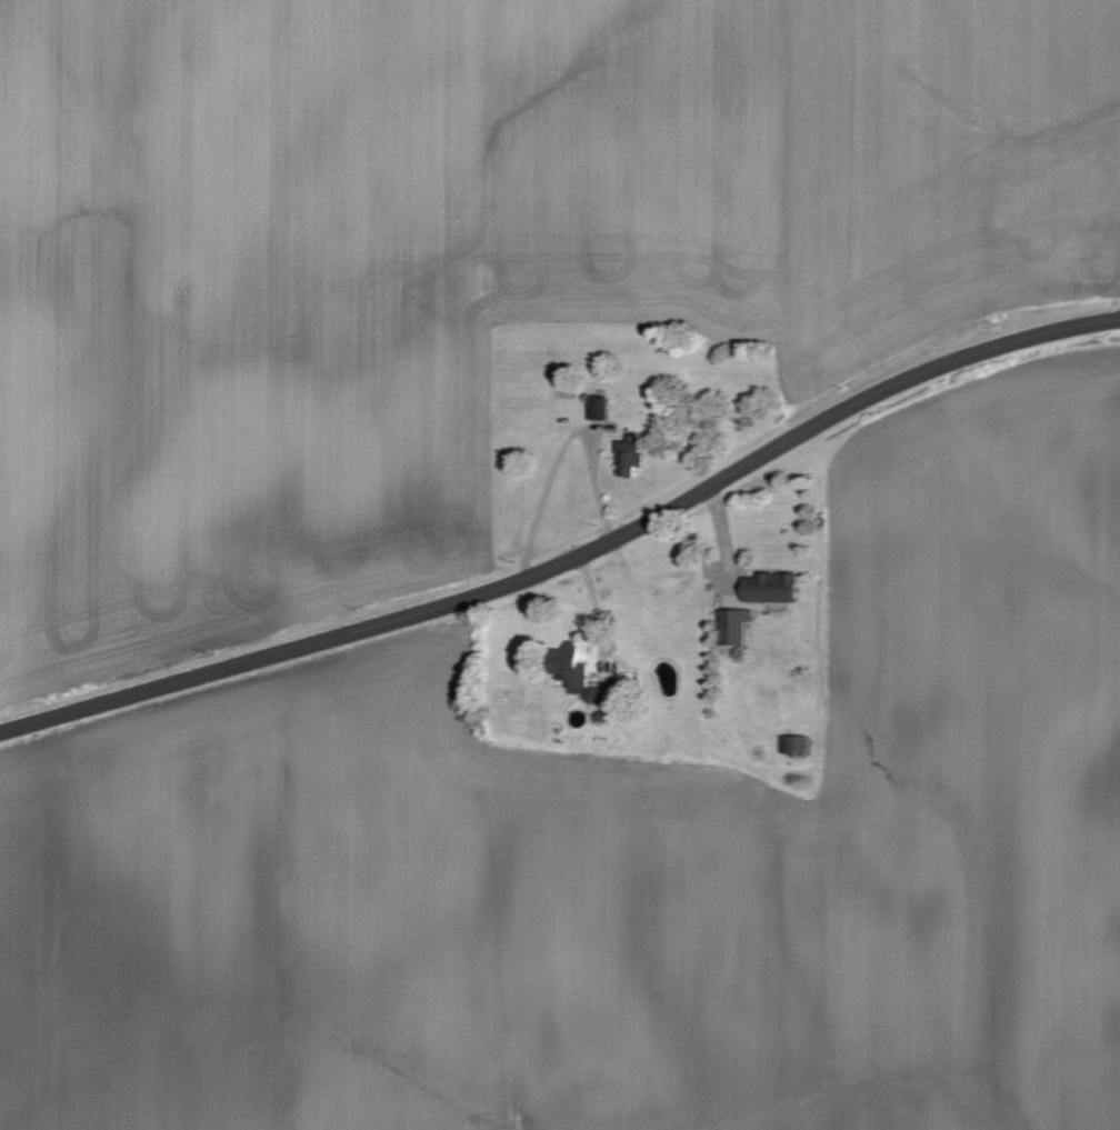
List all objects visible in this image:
building: (601, 406)
building: (636, 442)
road: (573, 557)
building: (761, 606)
building: (587, 677)
building: (800, 743)

